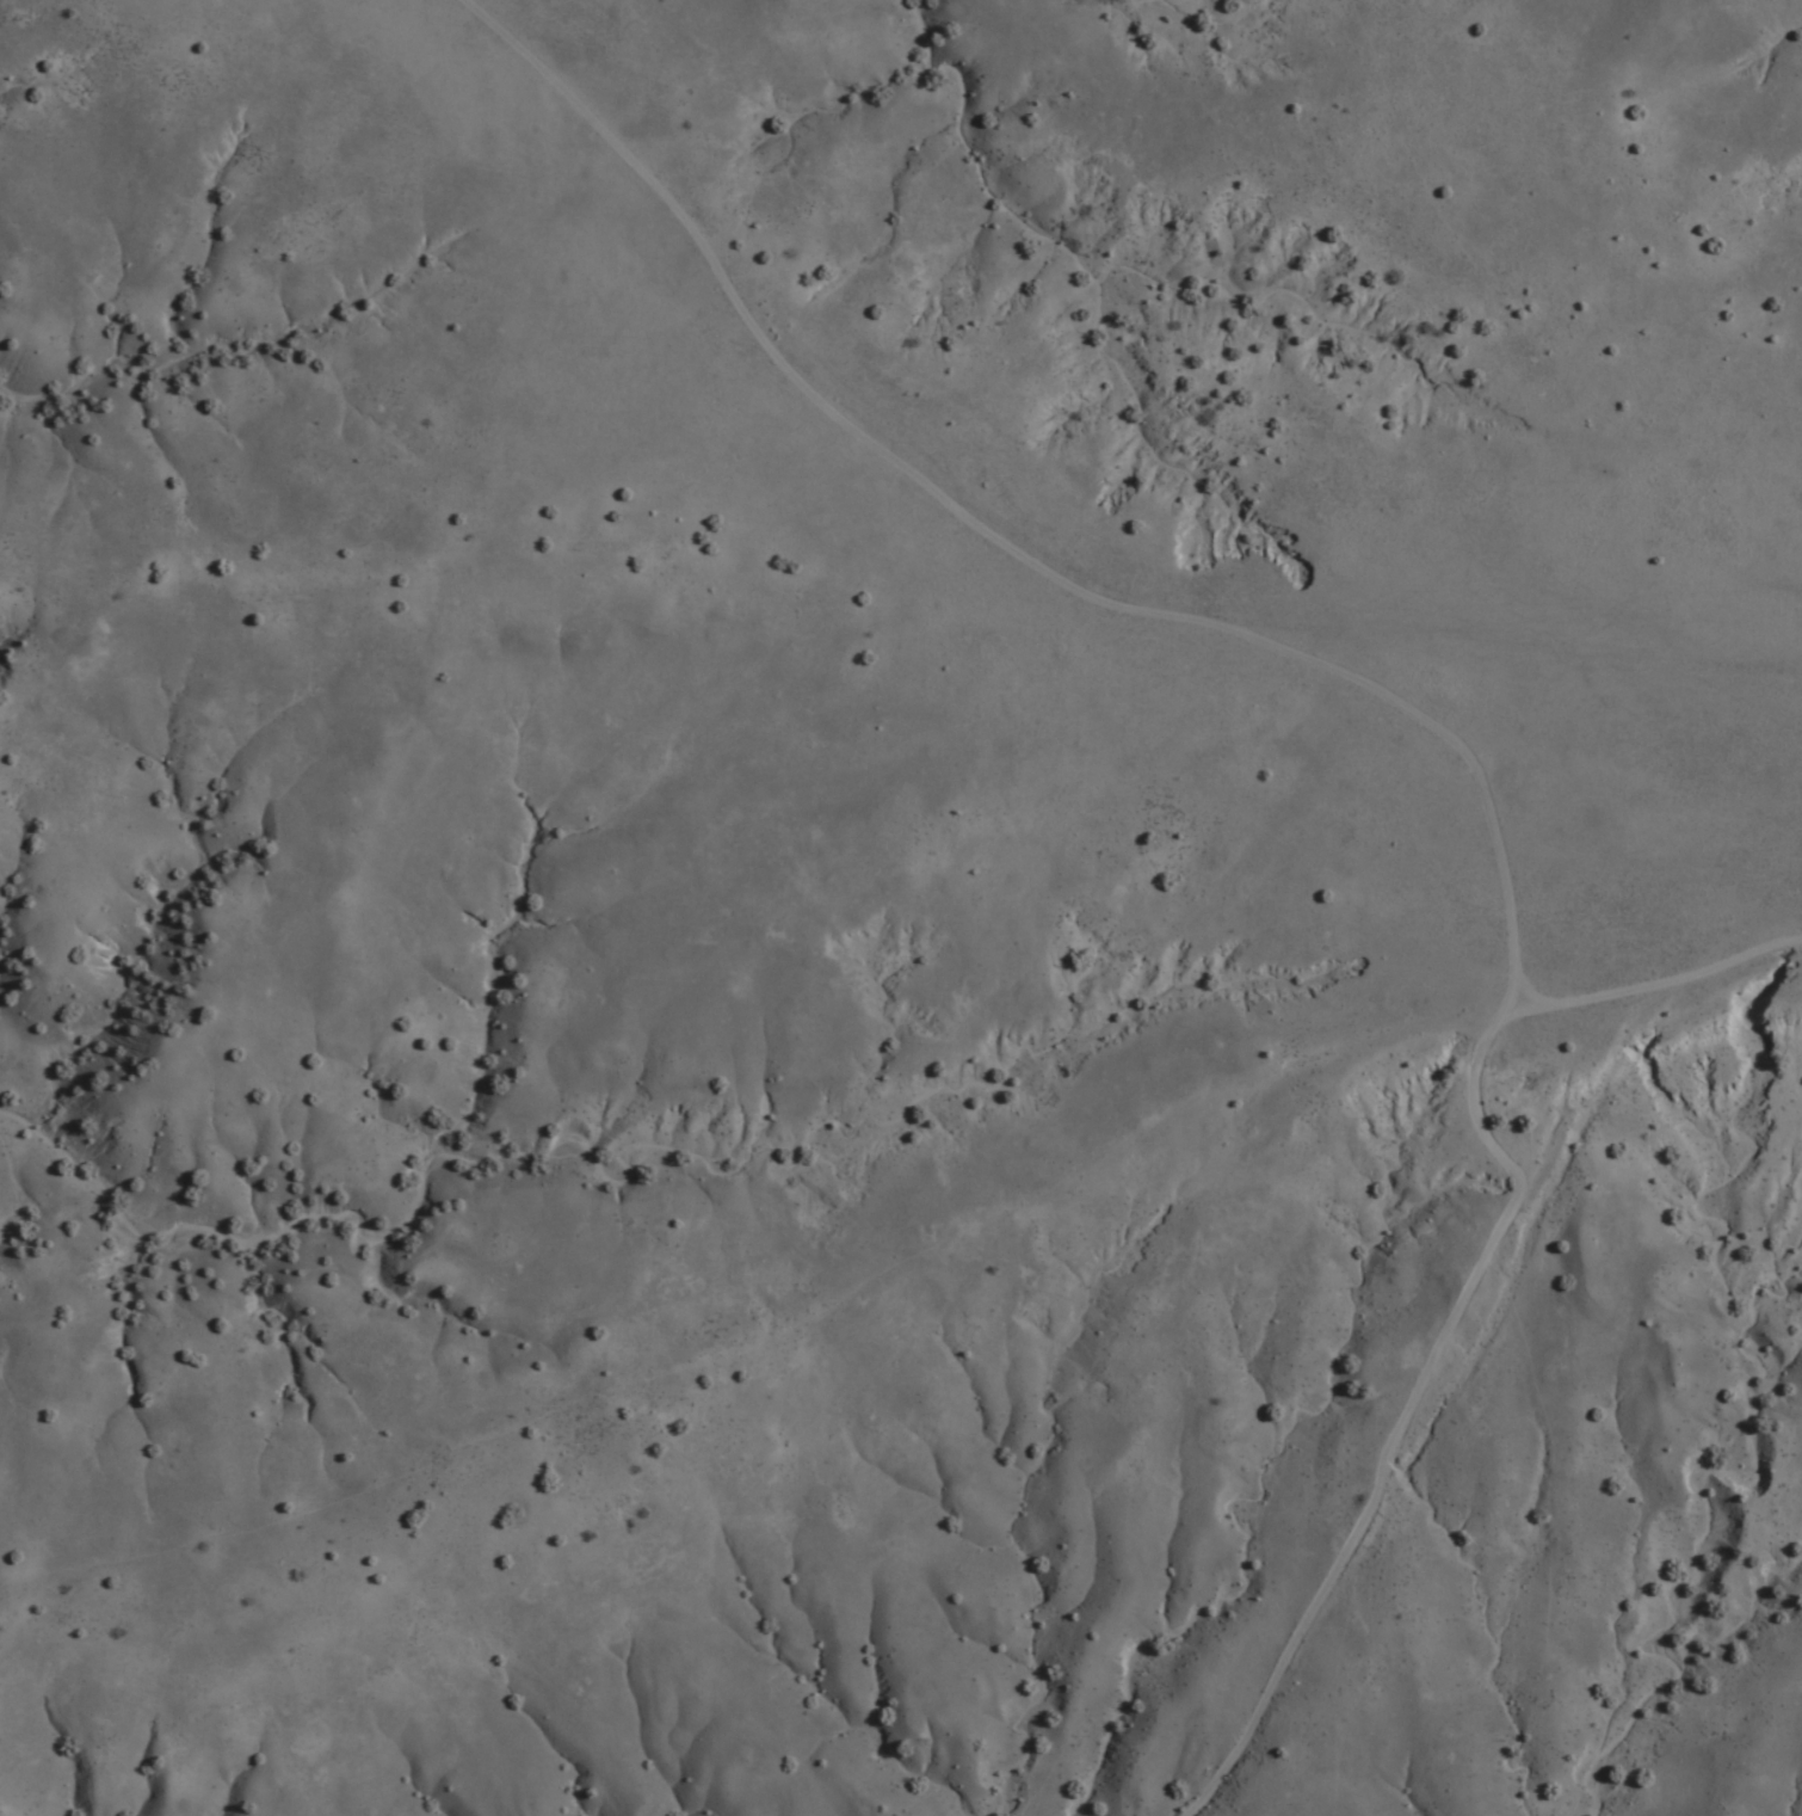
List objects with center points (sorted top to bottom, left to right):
road: (1467, 1401)

